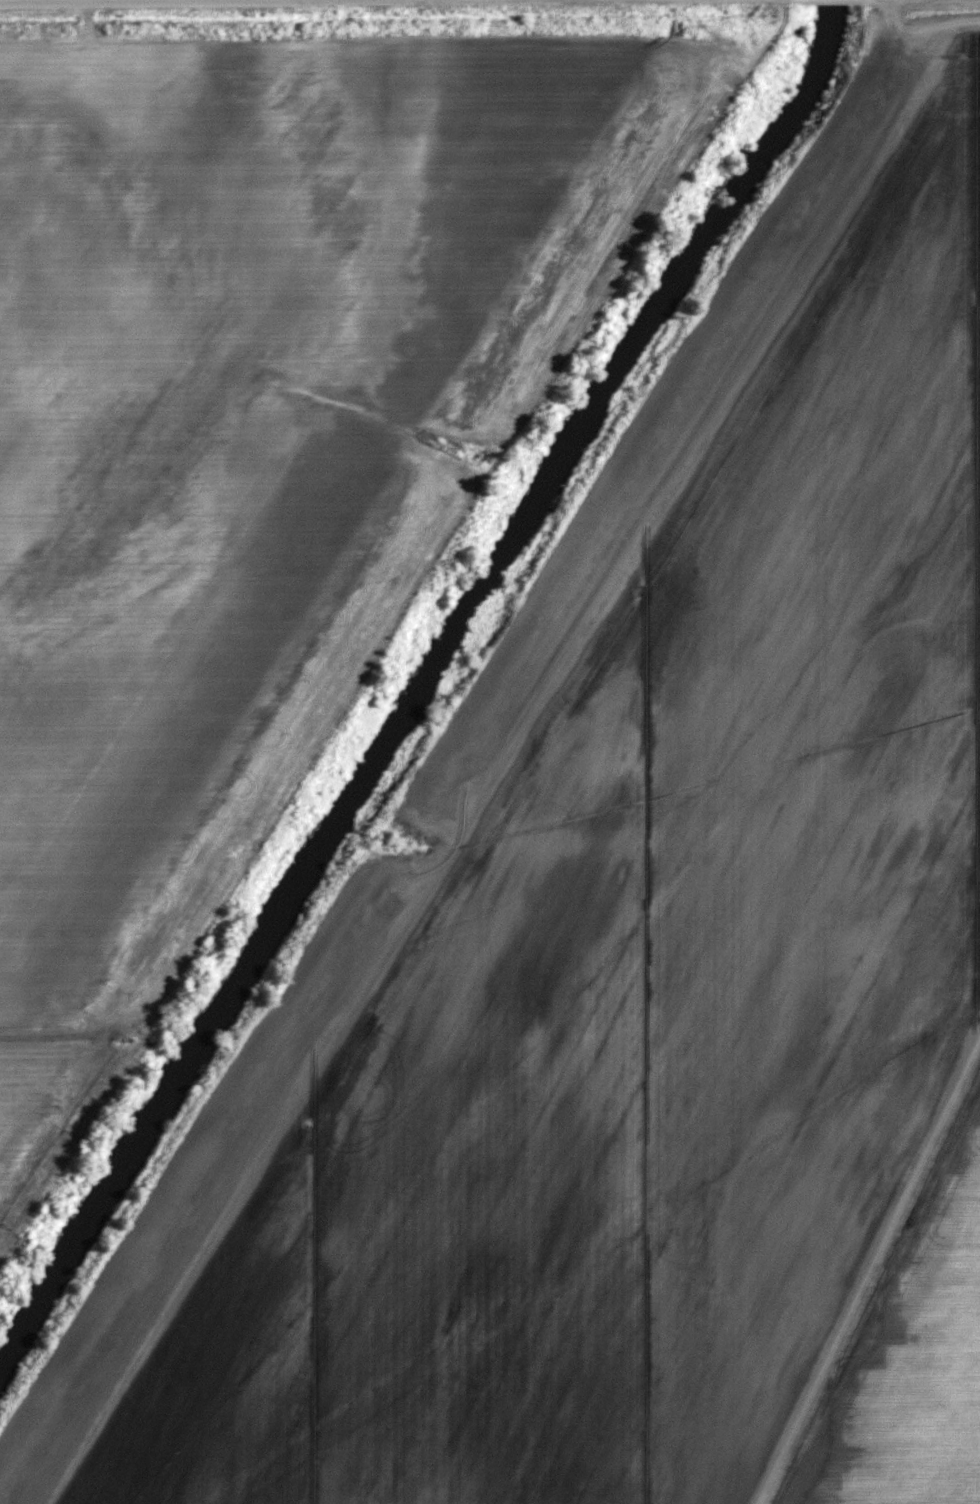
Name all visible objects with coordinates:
road: (34, 0)

